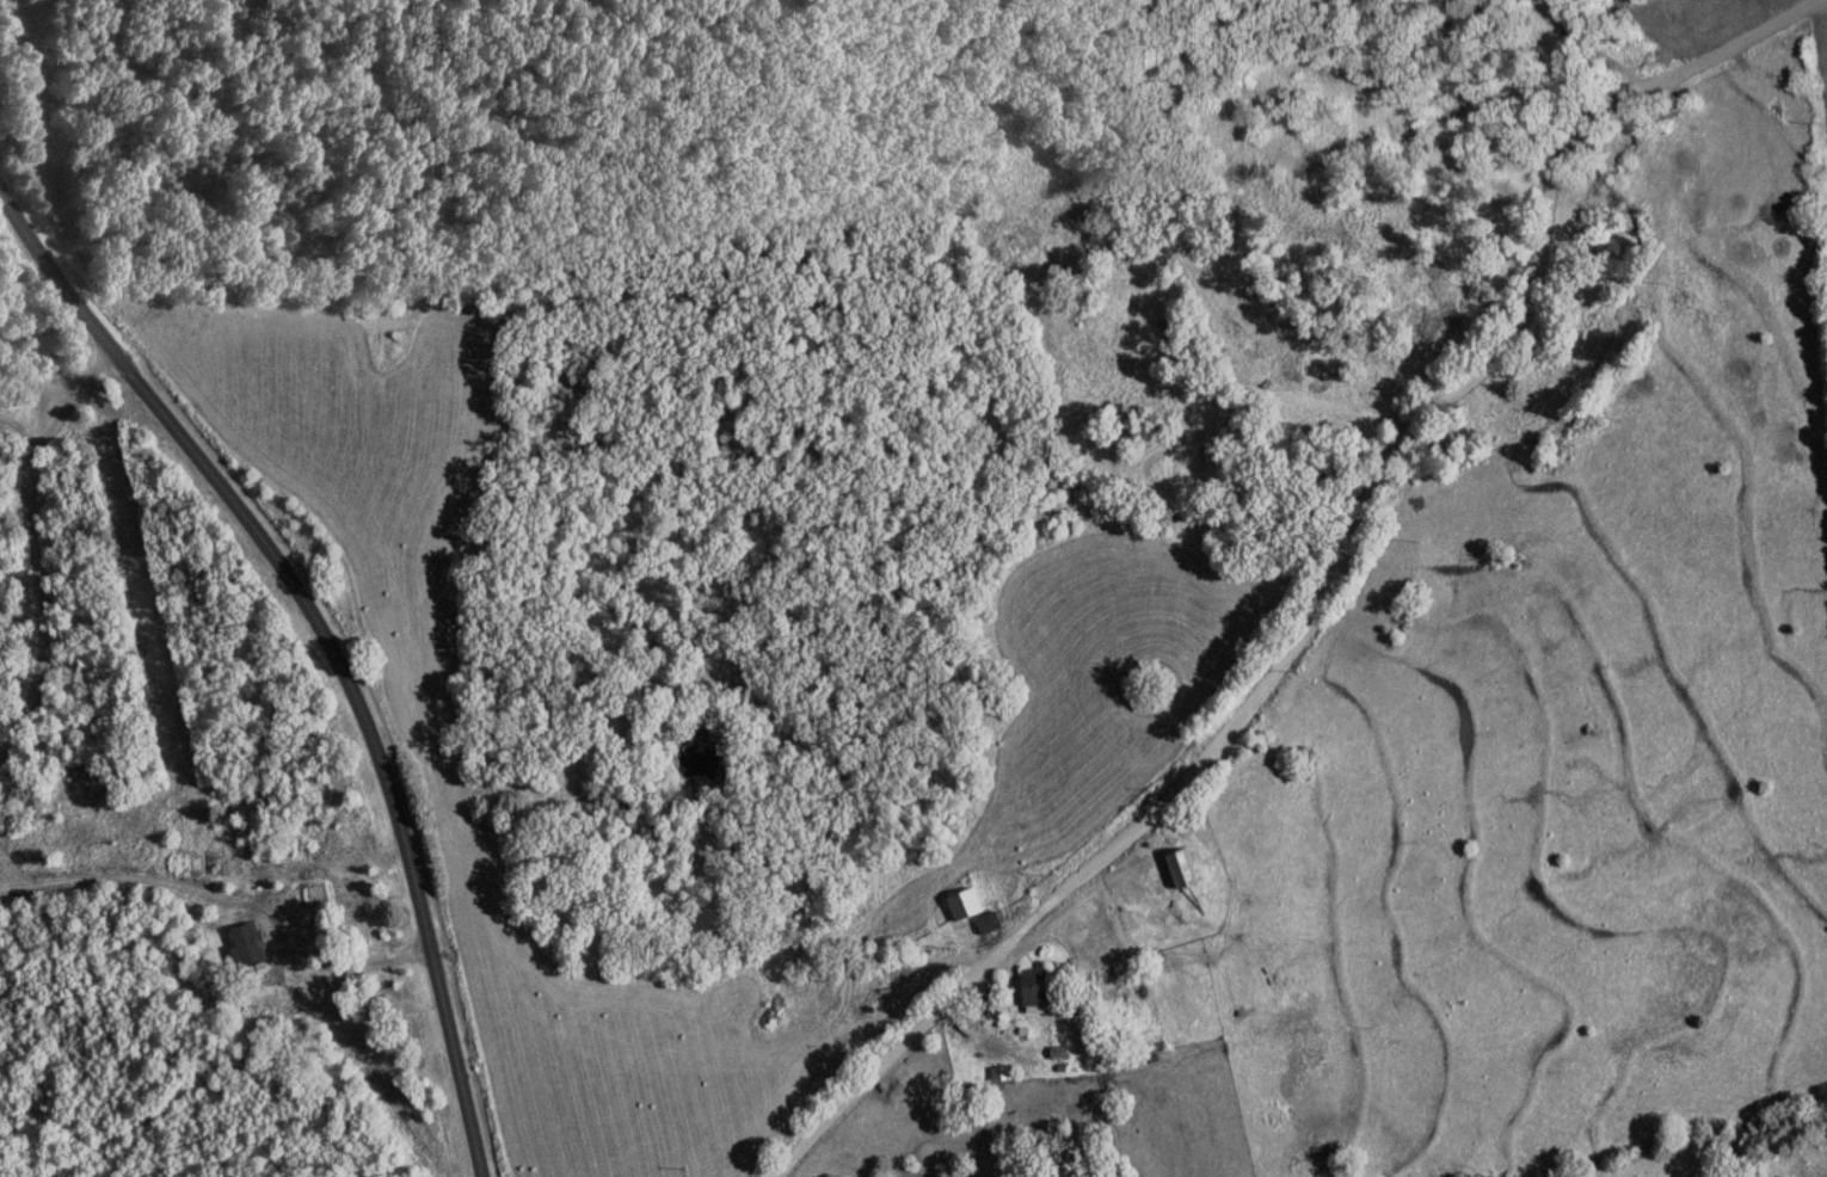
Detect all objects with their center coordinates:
road: (74, 400)
road: (1328, 580)
road: (27, 585)
road: (328, 642)
building: (1189, 868)
road: (230, 900)
building: (994, 920)
building: (252, 941)
building: (1046, 985)

